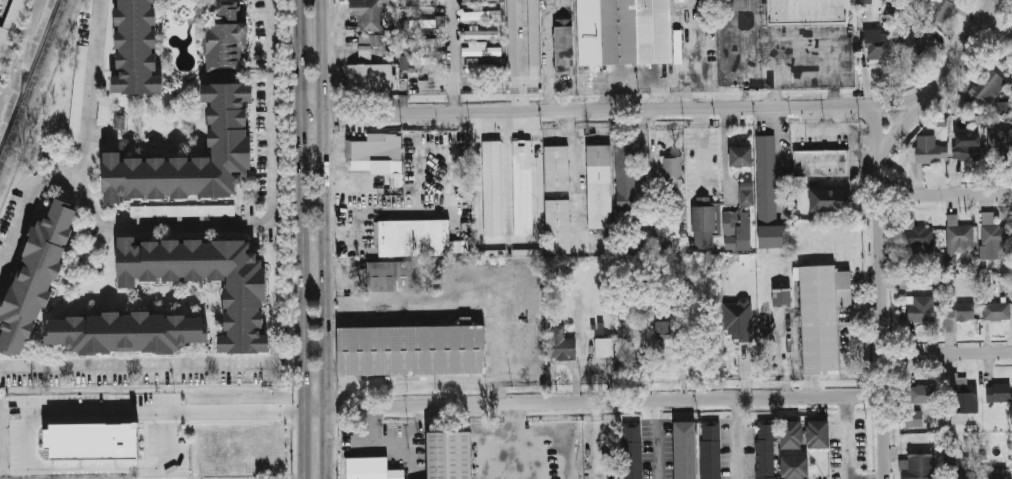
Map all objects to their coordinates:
building: (476, 0)
building: (864, 1)
building: (808, 10)
building: (939, 10)
building: (367, 14)
building: (482, 15)
building: (427, 22)
building: (11, 29)
building: (625, 30)
building: (482, 33)
road: (995, 33)
road: (271, 35)
building: (535, 36)
building: (225, 37)
building: (514, 37)
building: (917, 38)
road: (820, 40)
building: (875, 42)
building: (565, 43)
building: (422, 44)
building: (367, 45)
building: (140, 47)
building: (475, 49)
road: (548, 52)
road: (964, 53)
road: (451, 55)
building: (416, 61)
building: (478, 66)
road: (745, 66)
road: (805, 75)
building: (371, 76)
building: (991, 85)
building: (77, 93)
building: (1003, 107)
road: (611, 108)
building: (103, 110)
road: (879, 131)
building: (1002, 144)
building: (367, 150)
building: (965, 151)
building: (929, 152)
building: (197, 155)
building: (742, 157)
road: (778, 160)
building: (820, 163)
building: (558, 165)
building: (673, 173)
road: (290, 175)
building: (624, 181)
building: (600, 183)
building: (524, 184)
building: (493, 185)
road: (946, 193)
building: (767, 195)
building: (826, 199)
road: (25, 201)
building: (182, 210)
building: (741, 220)
building: (559, 222)
building: (703, 222)
road: (143, 224)
building: (416, 237)
building: (960, 238)
road: (302, 239)
road: (324, 239)
building: (918, 239)
road: (881, 240)
building: (992, 242)
building: (455, 246)
road: (314, 259)
building: (389, 276)
building: (37, 281)
building: (1005, 283)
building: (844, 285)
building: (783, 295)
building: (249, 309)
building: (919, 309)
building: (997, 311)
building: (962, 312)
building: (819, 315)
building: (740, 322)
building: (625, 325)
building: (661, 329)
building: (128, 331)
building: (561, 342)
building: (605, 347)
building: (414, 350)
road: (947, 353)
road: (293, 363)
road: (141, 364)
building: (998, 393)
building: (921, 394)
building: (962, 398)
road: (593, 402)
road: (508, 412)
road: (238, 417)
building: (913, 418)
building: (971, 427)
road: (846, 438)
road: (884, 438)
road: (735, 439)
road: (599, 440)
road: (652, 440)
building: (819, 440)
building: (793, 441)
building: (93, 447)
road: (523, 448)
building: (632, 450)
building: (686, 454)
building: (710, 454)
building: (766, 455)
building: (450, 458)
building: (917, 466)
building: (958, 468)
building: (797, 470)
building: (370, 471)
road: (33, 472)
building: (995, 473)

